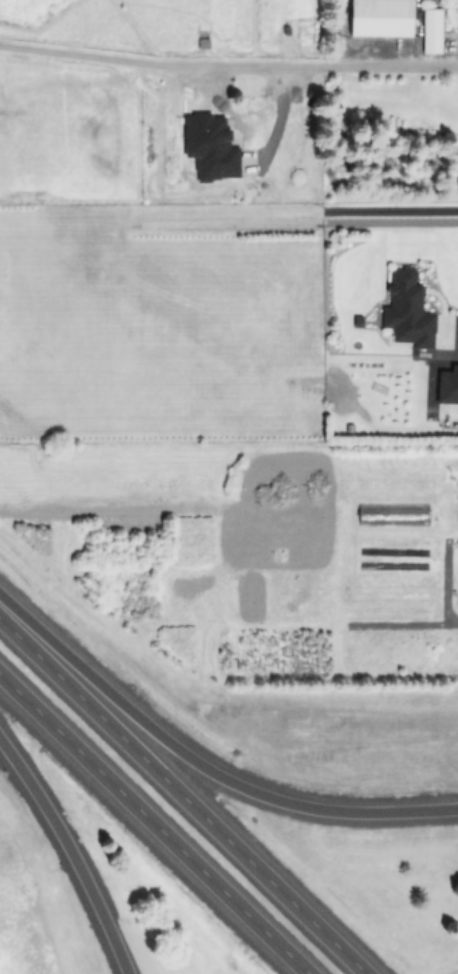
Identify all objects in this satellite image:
building: (384, 15)
building: (433, 31)
road: (228, 62)
building: (283, 96)
building: (210, 129)
building: (170, 143)
road: (201, 766)
road: (181, 796)
road: (153, 824)
road: (71, 852)

